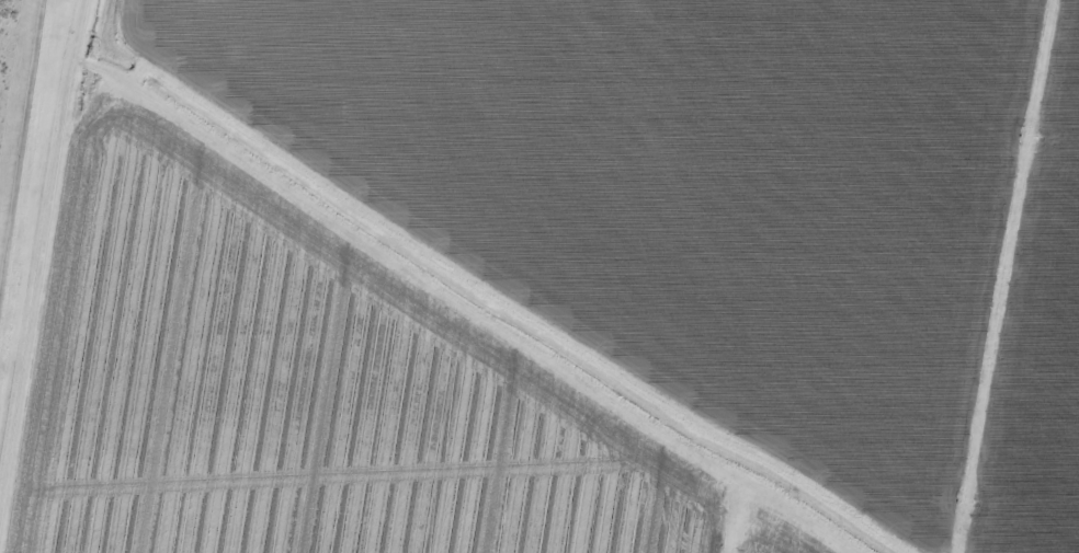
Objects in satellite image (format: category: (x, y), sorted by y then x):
road: (50, 276)
road: (458, 306)

